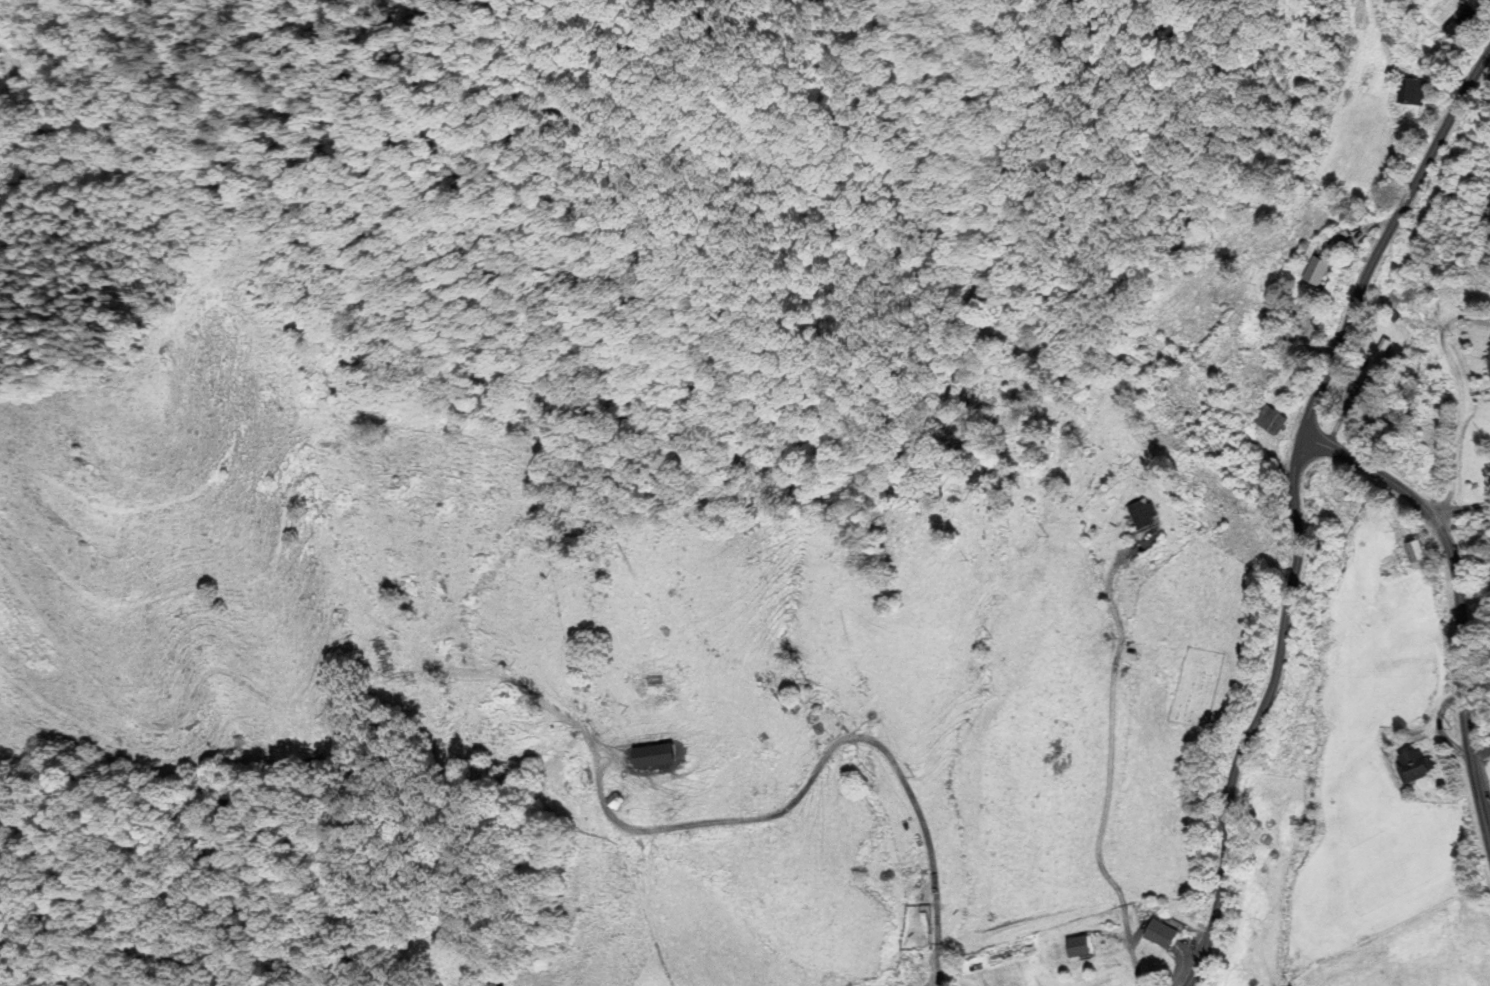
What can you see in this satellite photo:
building: (1412, 91)
building: (1343, 235)
building: (1316, 271)
building: (1379, 356)
building: (1489, 356)
road: (1461, 397)
building: (1277, 421)
road: (1293, 506)
building: (1139, 516)
building: (1418, 553)
road: (1458, 601)
road: (1108, 754)
building: (1419, 765)
building: (617, 800)
building: (1160, 934)
building: (1080, 947)

